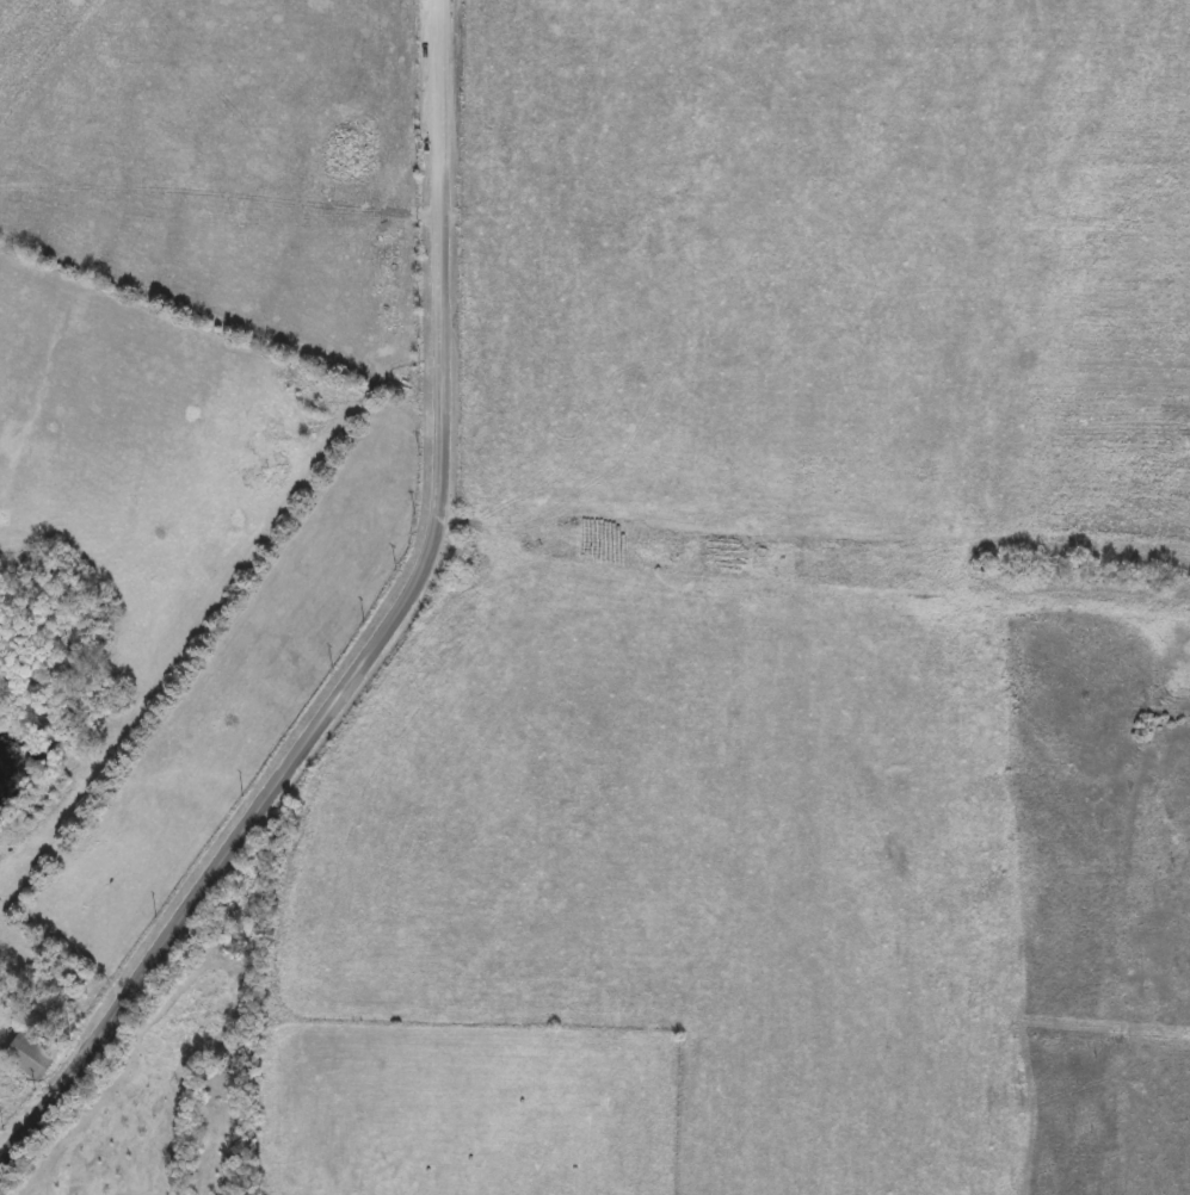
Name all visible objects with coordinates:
road: (384, 639)
building: (25, 1057)
road: (10, 1138)

